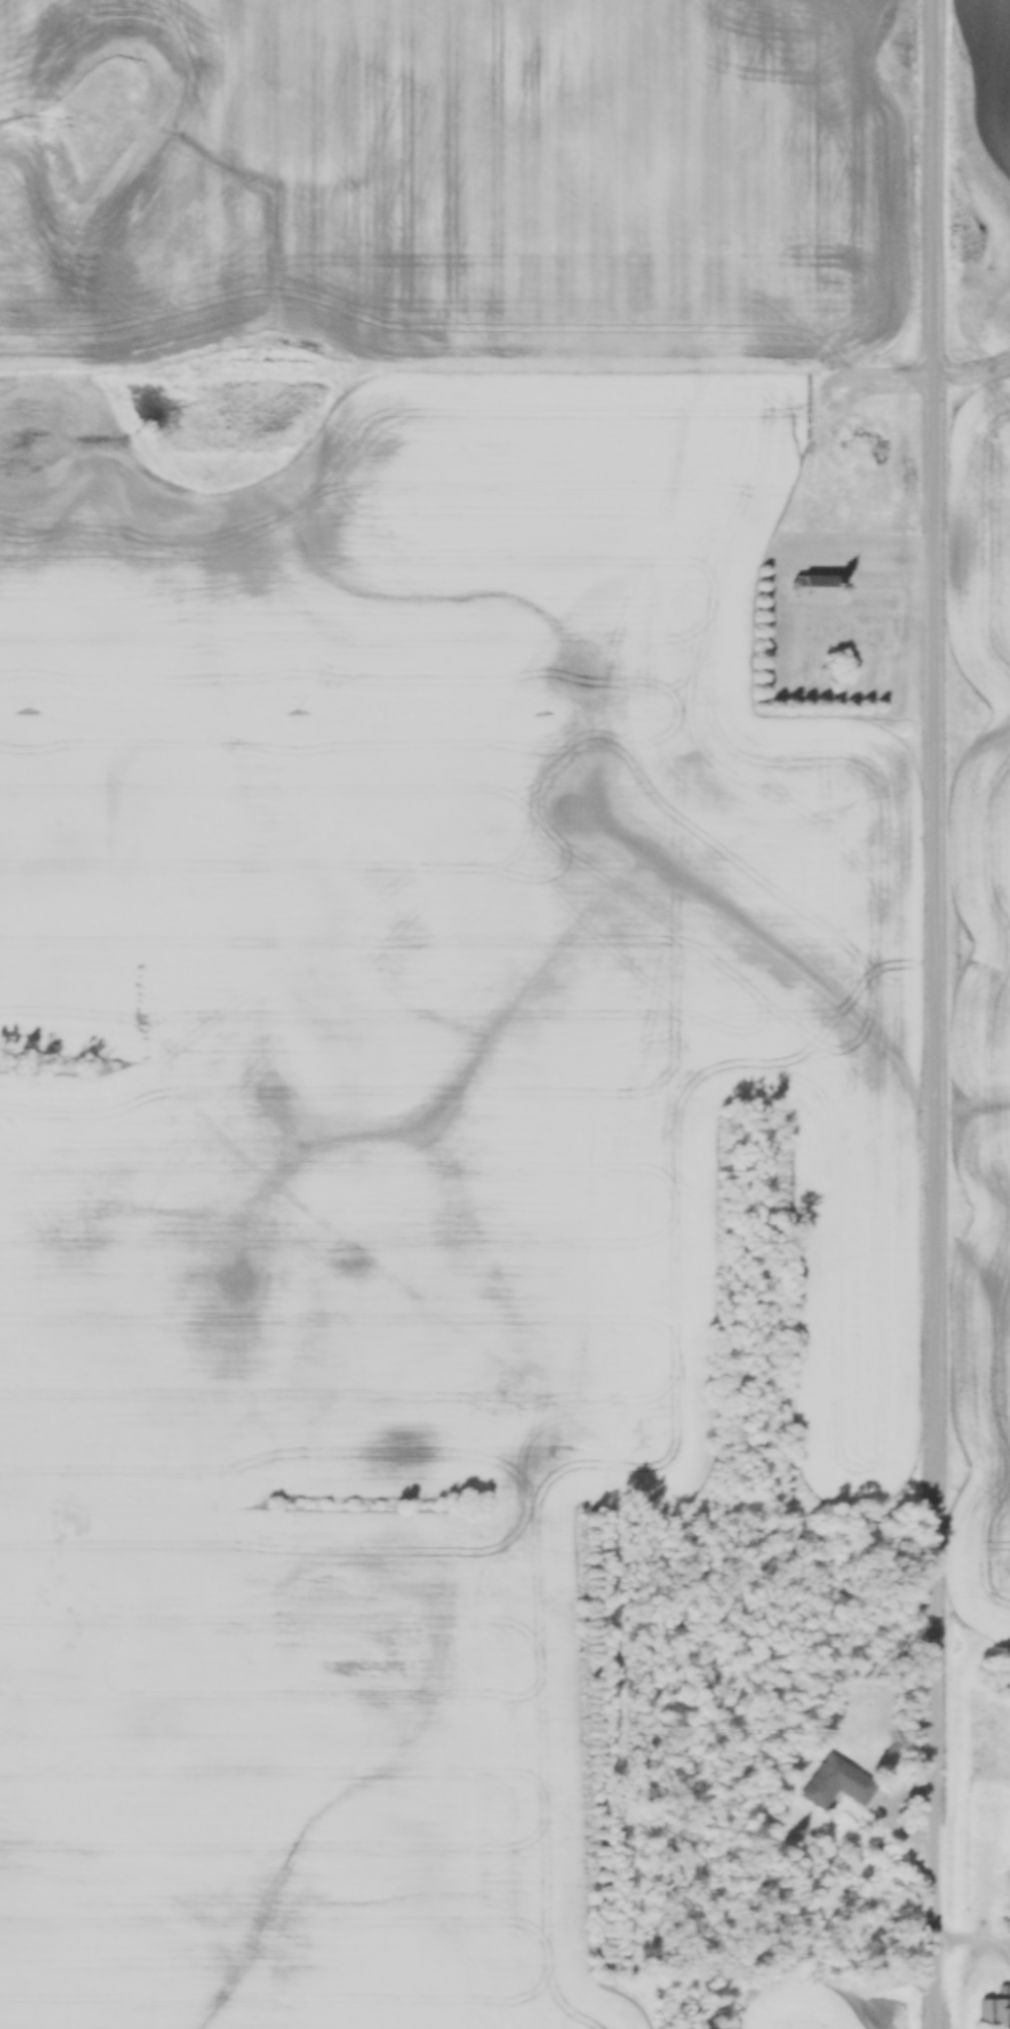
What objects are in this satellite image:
road: (466, 394)
road: (971, 397)
road: (932, 1014)
building: (843, 1788)
road: (973, 1943)
building: (996, 2011)

